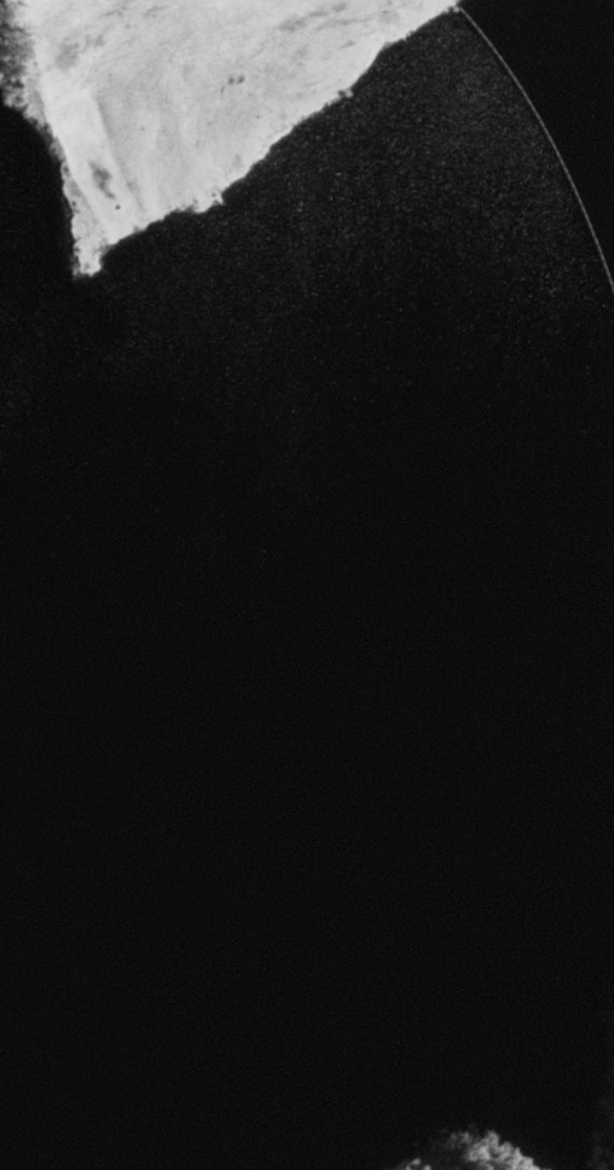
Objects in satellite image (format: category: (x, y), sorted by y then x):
river: (349, 937)

